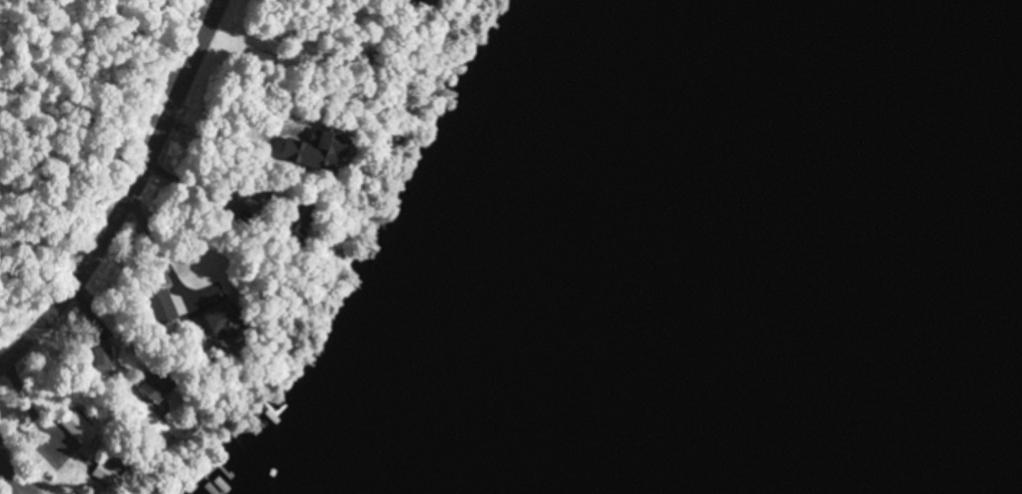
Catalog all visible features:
building: (432, 1)
building: (322, 154)
road: (130, 196)
building: (229, 326)
building: (104, 359)
building: (156, 389)

